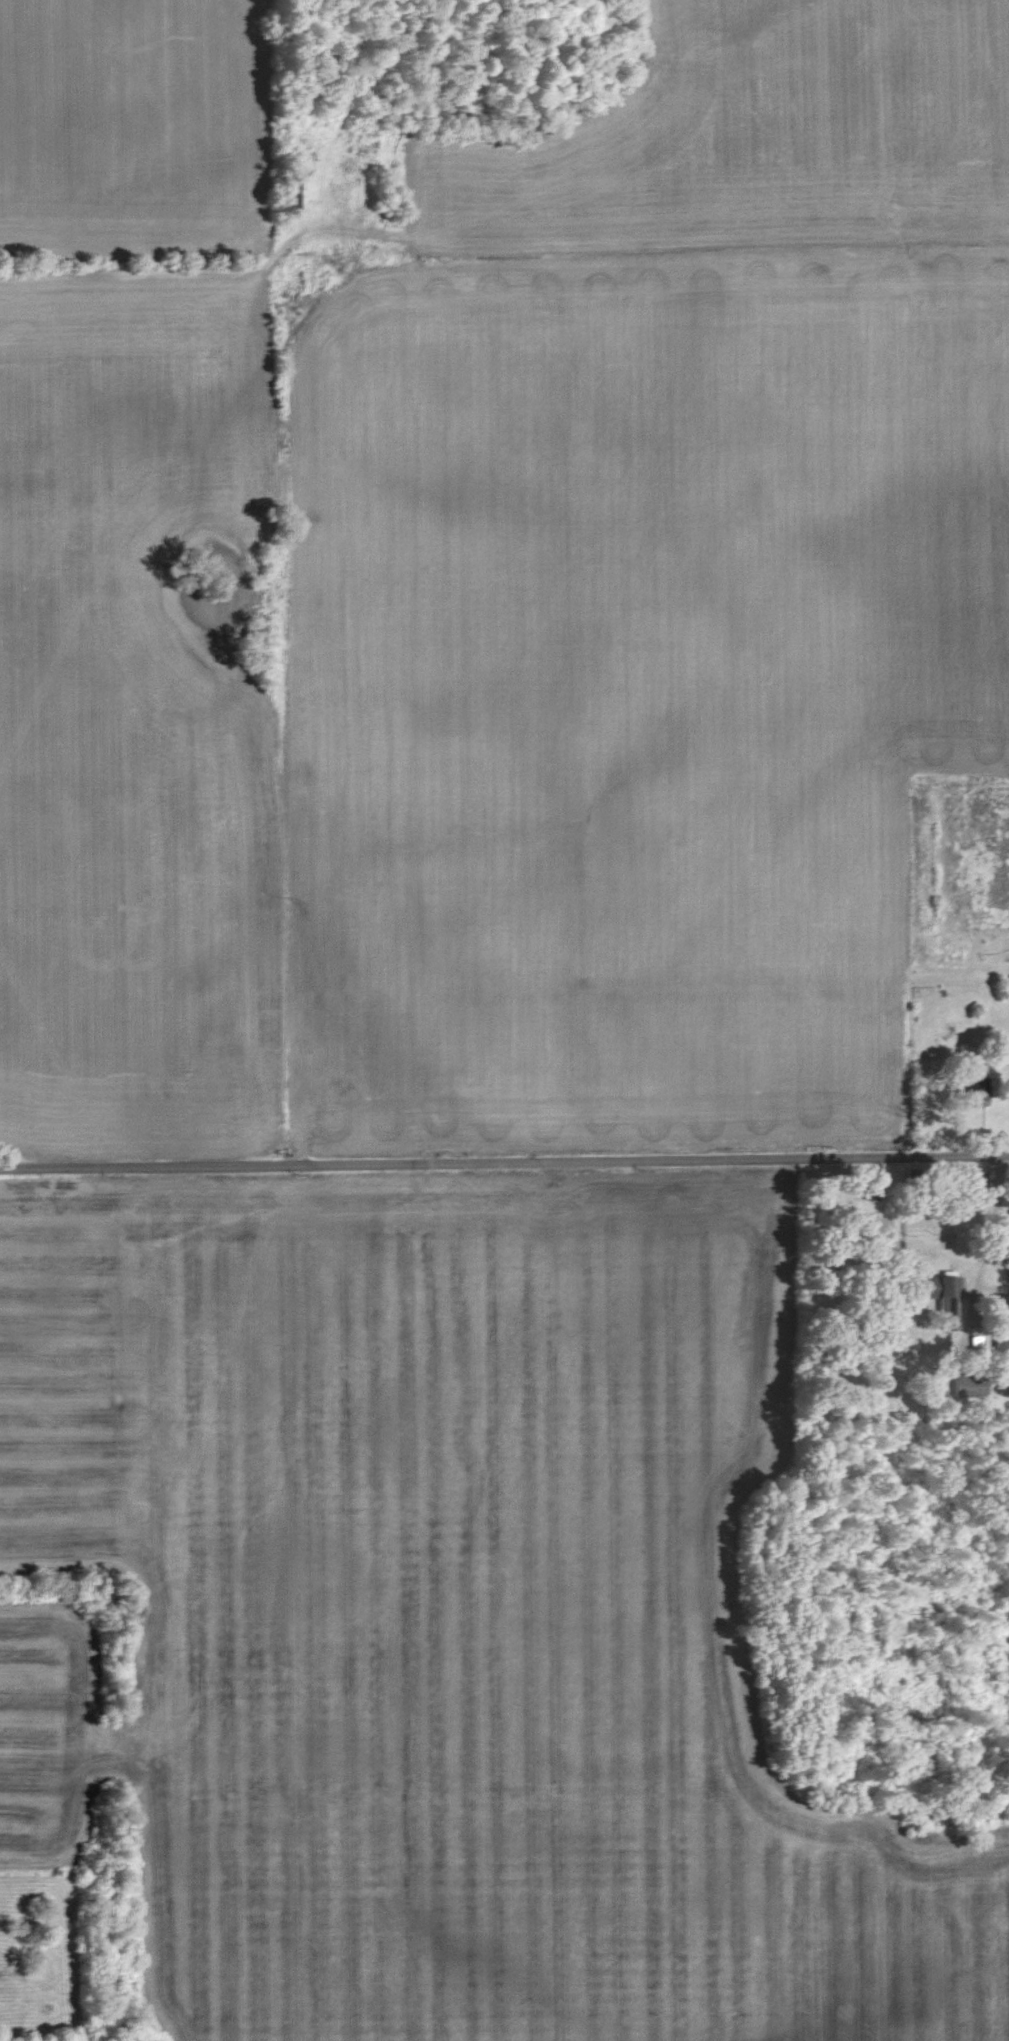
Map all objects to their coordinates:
road: (395, 24)
road: (441, 38)
road: (364, 73)
building: (286, 193)
road: (312, 198)
building: (973, 1091)
road: (504, 1163)
building: (976, 1178)
building: (869, 1184)
road: (995, 1214)
building: (942, 1300)
building: (1000, 1324)
building: (967, 1385)

